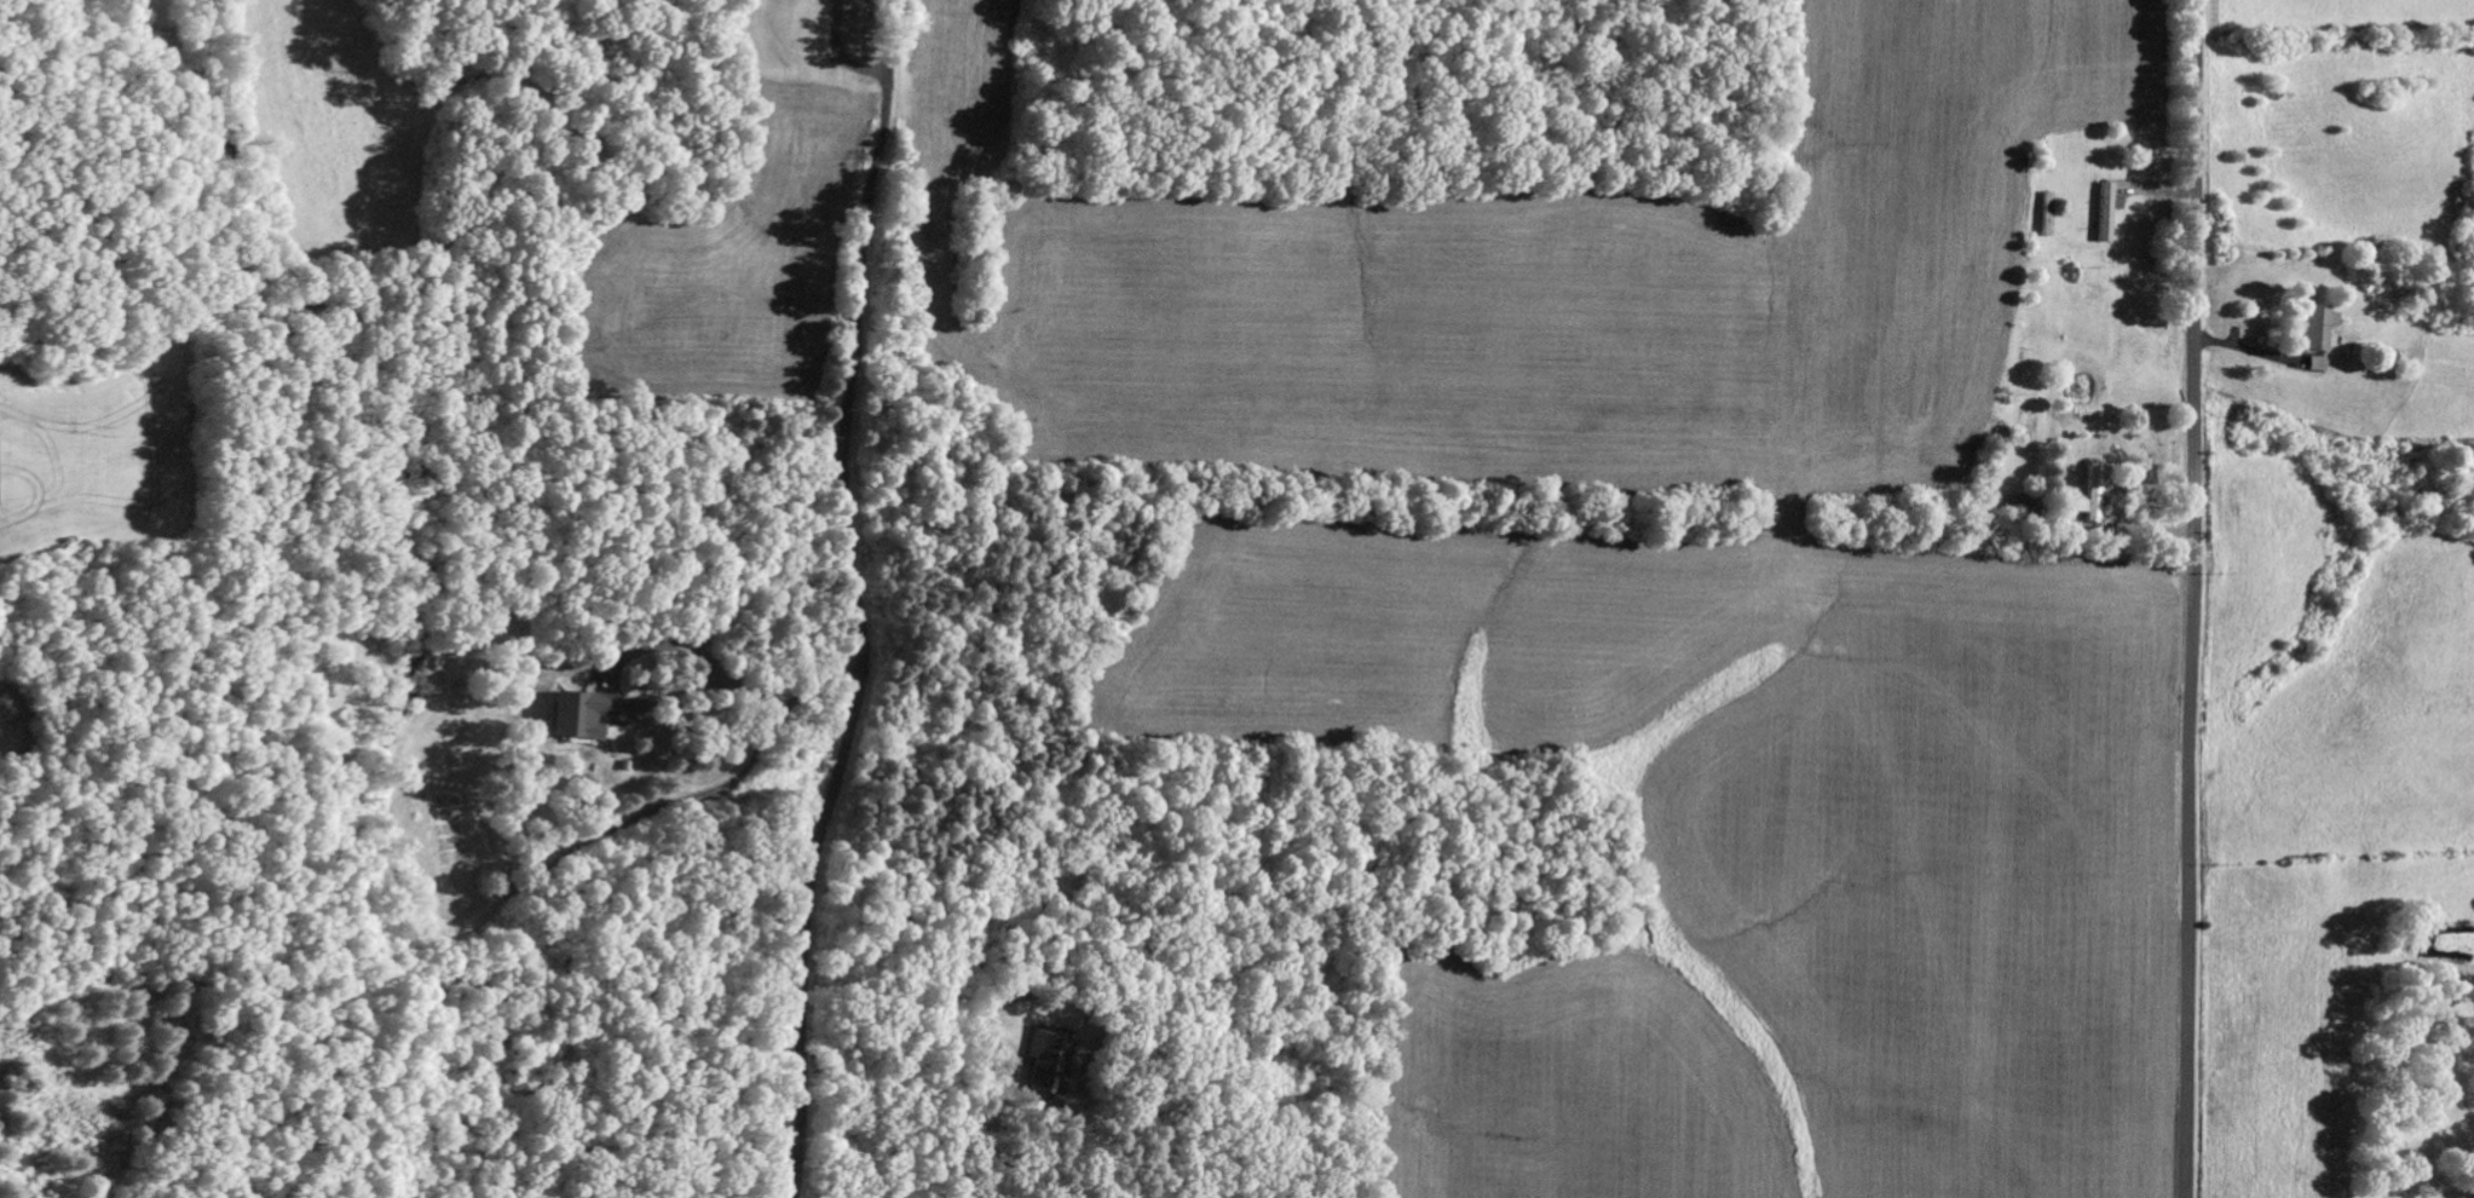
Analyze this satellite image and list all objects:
building: (2106, 211)
building: (2318, 326)
building: (2314, 363)
building: (2090, 490)
road: (855, 599)
road: (2191, 599)
building: (578, 714)
road: (702, 793)
building: (1046, 1058)

